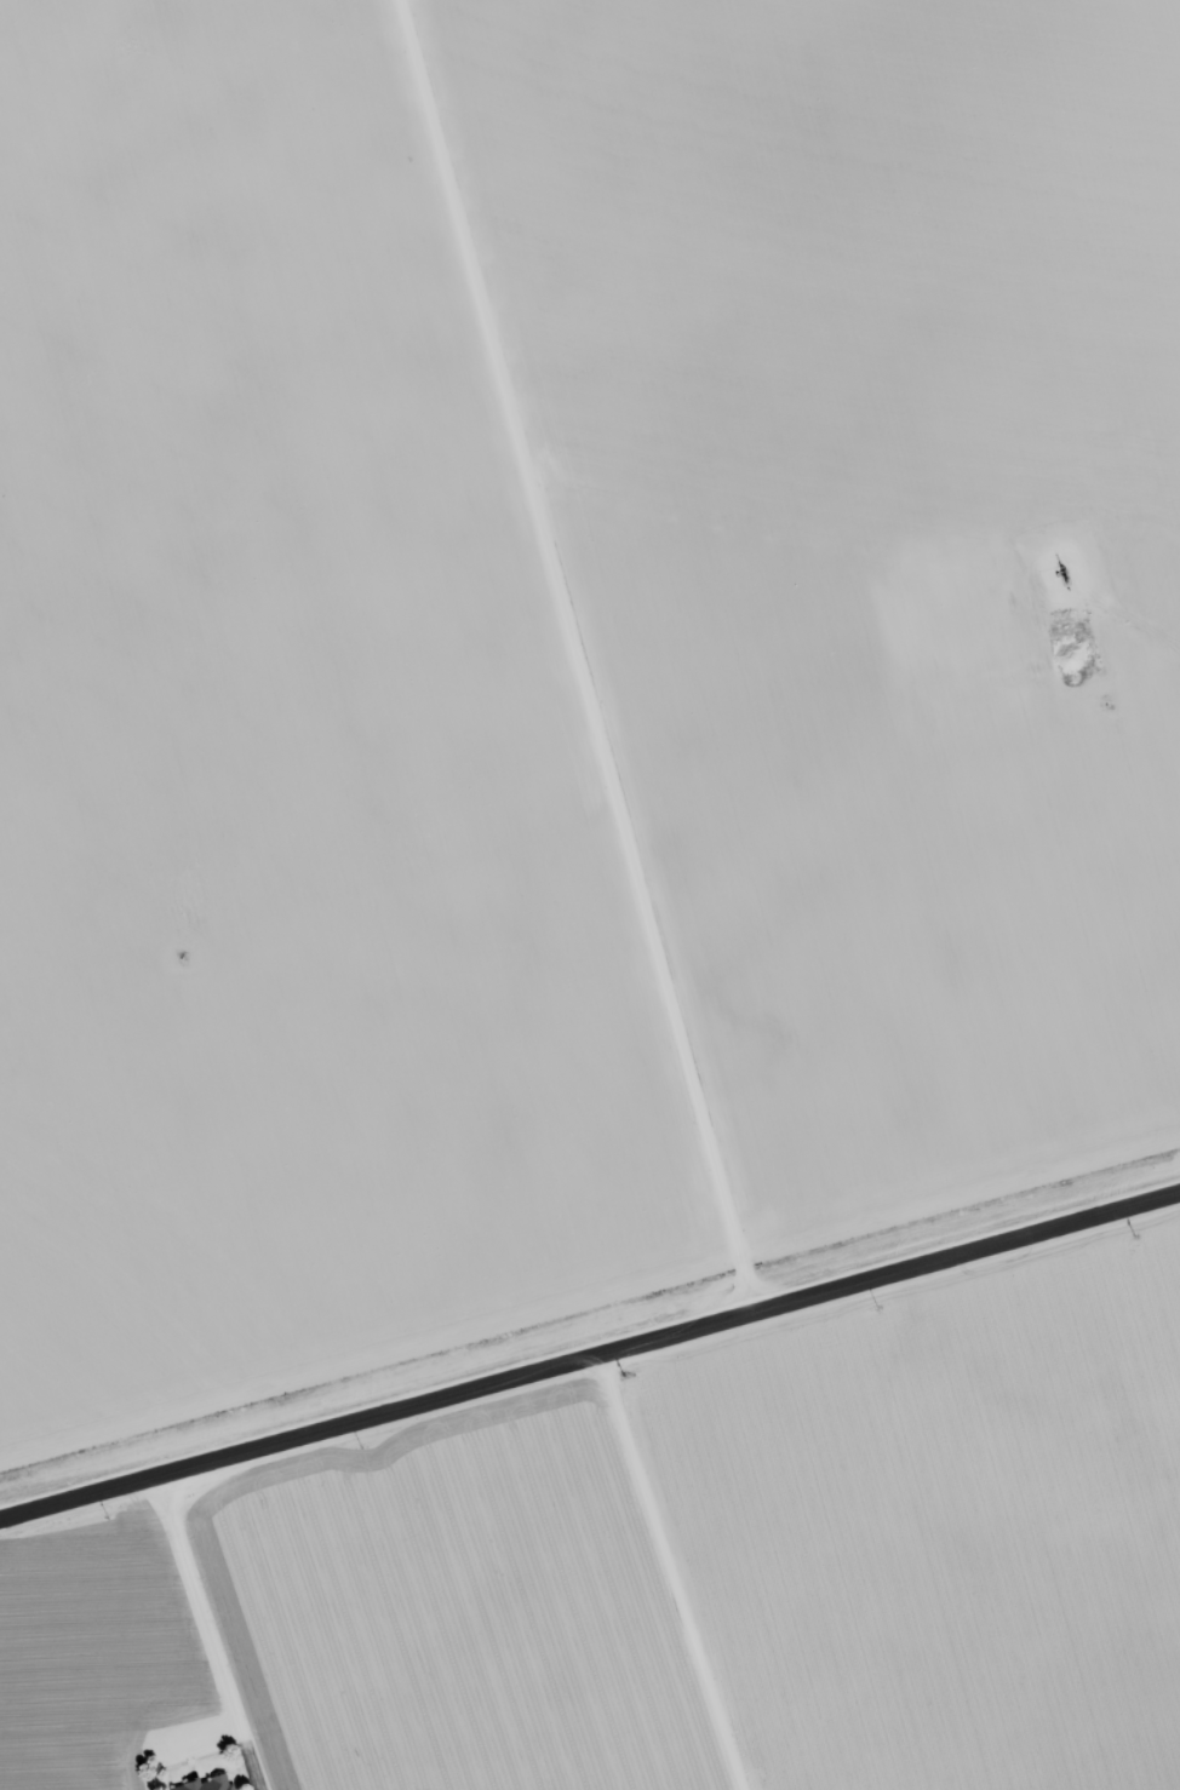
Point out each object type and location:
road: (561, 653)
road: (585, 1348)

